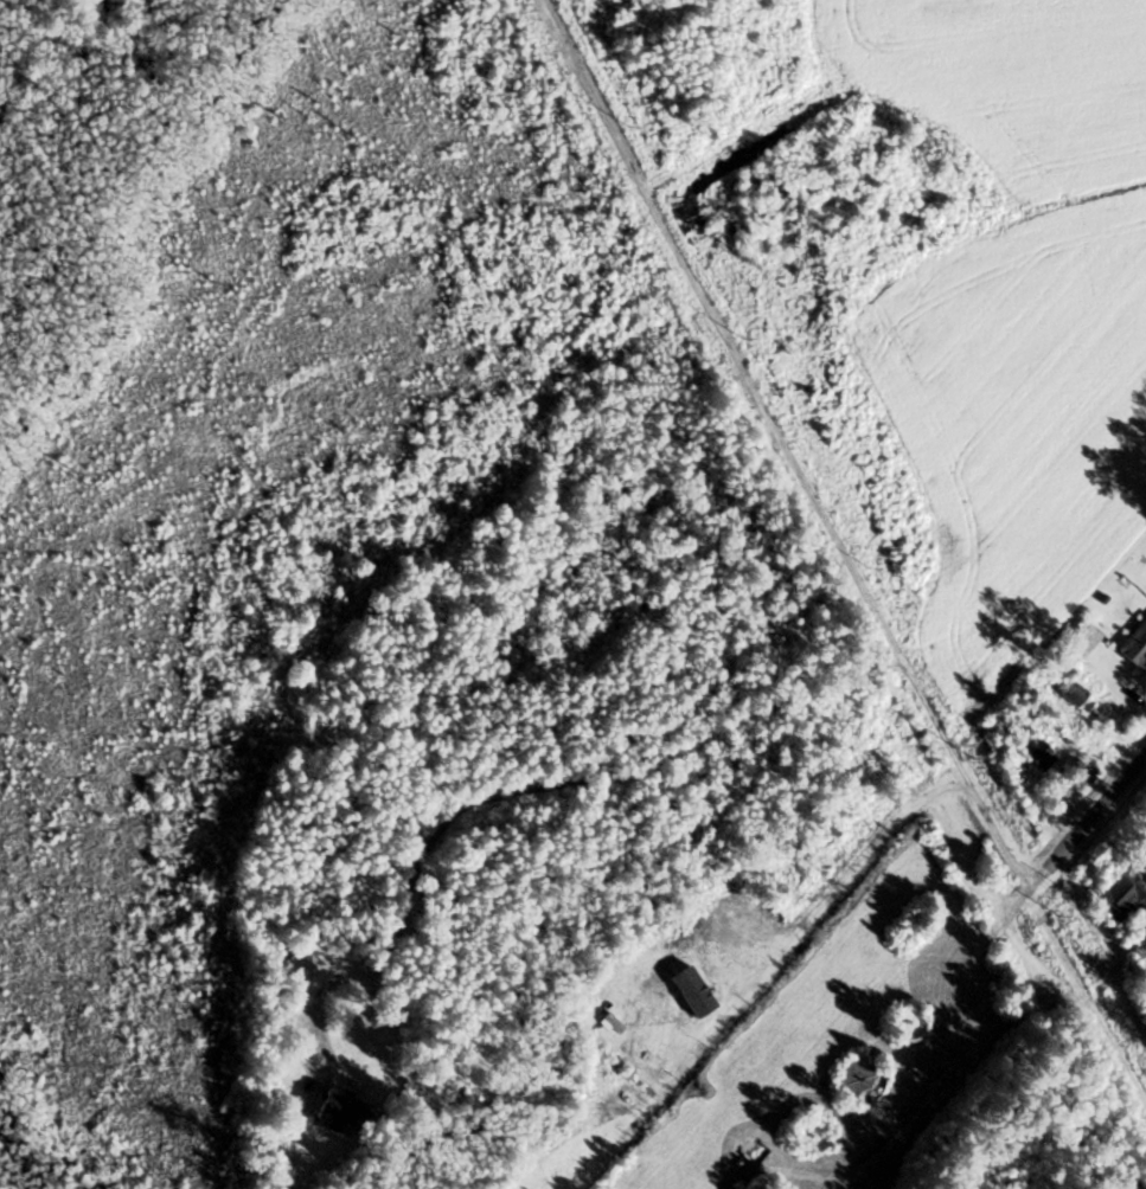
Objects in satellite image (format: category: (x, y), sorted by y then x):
power tower: (648, 129)
power tower: (768, 348)
power tower: (898, 576)
building: (1080, 638)
building: (1133, 644)
building: (1073, 695)
building: (1030, 752)
power tower: (969, 756)
building: (1118, 895)
power tower: (1055, 921)
road: (973, 962)
building: (300, 966)
wastewater plant: (905, 1020)
wastewater plant: (865, 1078)
building: (350, 1110)
wastewater plant: (819, 1132)
wastewater plant: (768, 1184)

